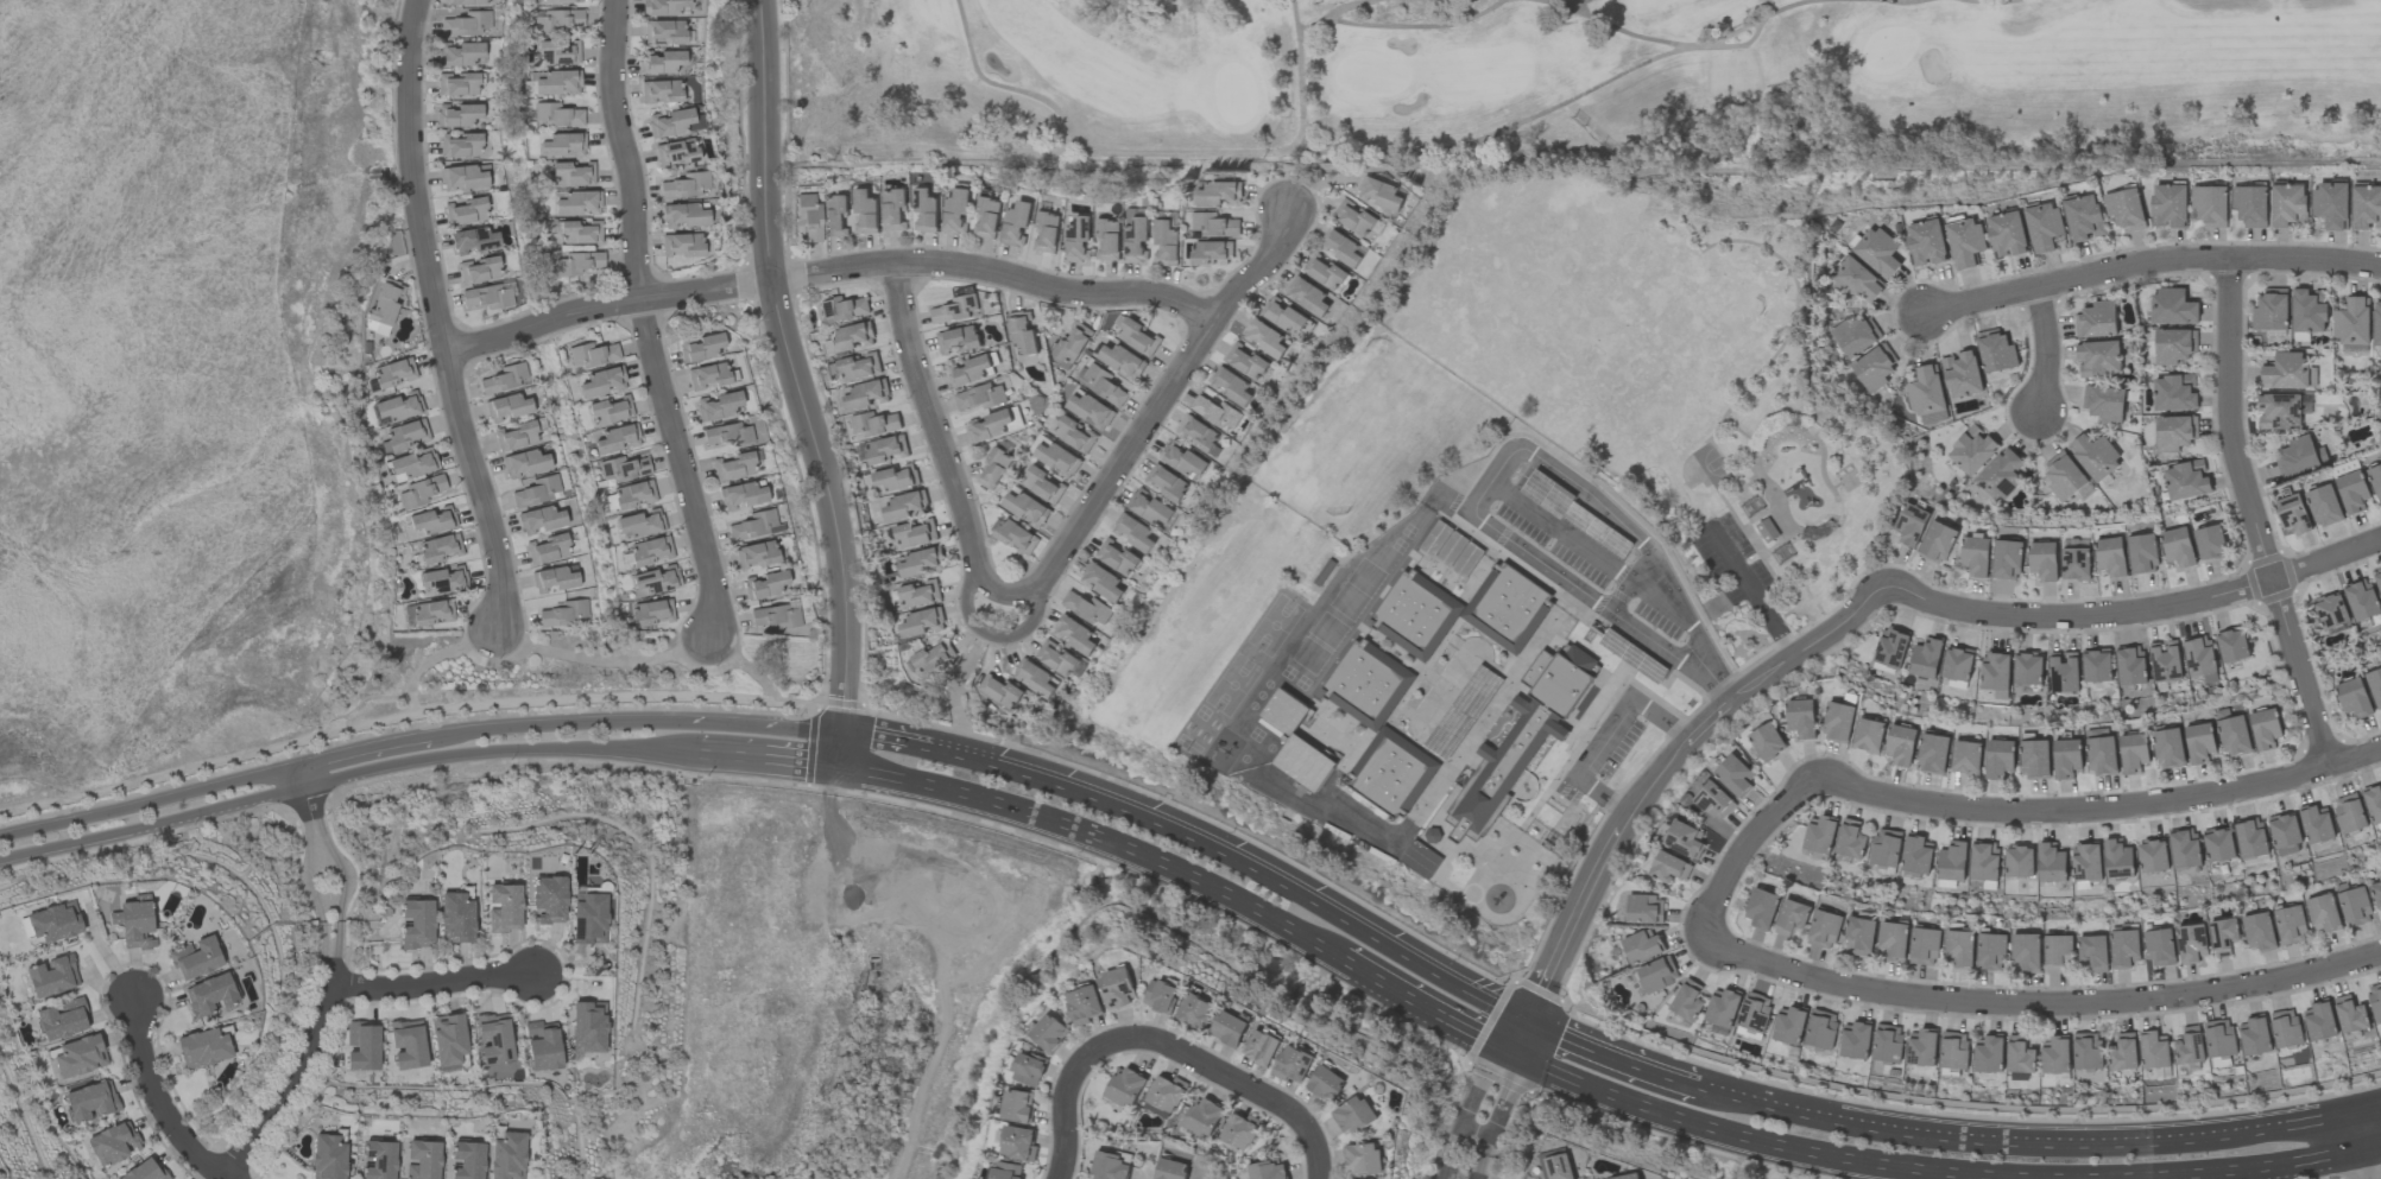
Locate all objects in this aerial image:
building: (467, 1)
building: (560, 1)
building: (662, 6)
building: (557, 19)
building: (466, 24)
building: (662, 31)
building: (558, 52)
building: (459, 53)
building: (661, 62)
park: (1580, 81)
building: (557, 82)
building: (457, 83)
building: (659, 90)
building: (457, 114)
building: (557, 114)
building: (674, 122)
building: (562, 144)
building: (460, 145)
building: (675, 152)
building: (571, 173)
building: (463, 176)
building: (684, 185)
building: (1219, 194)
building: (1378, 194)
building: (577, 203)
building: (2170, 205)
building: (2210, 205)
building: (2250, 205)
building: (2288, 205)
building: (2331, 205)
building: (2366, 207)
building: (893, 209)
building: (2126, 209)
building: (956, 210)
building: (466, 211)
building: (865, 211)
building: (926, 211)
building: (684, 214)
building: (808, 216)
building: (835, 216)
building: (1353, 217)
building: (986, 218)
building: (2084, 218)
building: (1016, 223)
building: (1213, 226)
building: (2044, 227)
building: (580, 232)
building: (1047, 233)
building: (2007, 234)
building: (1136, 235)
building: (473, 240)
building: (1079, 240)
building: (1107, 240)
building: (1164, 242)
building: (1926, 242)
building: (1965, 242)
building: (680, 243)
building: (1341, 248)
building: (1878, 252)
building: (1211, 253)
road: (2148, 261)
building: (577, 262)
building: (478, 270)
road: (829, 270)
building: (1324, 273)
building: (1857, 281)
building: (486, 296)
building: (1308, 297)
building: (385, 300)
building: (2173, 308)
building: (841, 309)
building: (956, 309)
building: (2271, 310)
building: (2309, 311)
road: (438, 315)
building: (1283, 315)
building: (2096, 321)
road: (644, 322)
building: (2352, 322)
park: (1586, 323)
building: (2376, 323)
building: (375, 328)
building: (1022, 332)
building: (1855, 336)
building: (851, 337)
building: (1137, 337)
building: (1267, 338)
building: (958, 341)
building: (1073, 342)
building: (2174, 346)
building: (701, 347)
road: (2044, 349)
building: (1995, 351)
building: (592, 354)
building: (2098, 359)
building: (1120, 361)
building: (1246, 363)
building: (855, 367)
building: (1874, 367)
building: (970, 370)
building: (393, 372)
building: (2285, 372)
park: (1659, 373)
building: (1963, 374)
building: (706, 375)
building: (504, 378)
building: (601, 381)
building: (1101, 384)
building: (1231, 386)
road: (792, 387)
building: (1926, 391)
building: (2174, 393)
building: (866, 394)
building: (980, 397)
building: (2104, 404)
building: (2305, 404)
building: (716, 405)
building: (398, 407)
building: (506, 407)
building: (610, 410)
building: (1090, 410)
building: (2279, 411)
road: (1152, 413)
building: (1217, 413)
building: (873, 424)
building: (990, 425)
road: (939, 432)
building: (2175, 432)
building: (1196, 433)
building: (404, 435)
building: (725, 435)
building: (1074, 435)
building: (516, 436)
building: (617, 438)
building: (886, 449)
building: (1972, 450)
building: (1054, 455)
building: (2095, 456)
building: (2299, 457)
building: (1183, 459)
building: (412, 463)
building: (524, 463)
building: (732, 465)
road: (1497, 467)
building: (623, 468)
building: (994, 468)
building: (2001, 475)
building: (2063, 476)
building: (896, 477)
building: (2186, 480)
building: (2375, 481)
building: (1166, 483)
building: (1042, 486)
building: (535, 490)
building: (418, 492)
building: (2352, 492)
building: (741, 494)
building: (630, 495)
building: (905, 506)
building: (2324, 506)
building: (1150, 508)
building: (2293, 514)
road: (2250, 515)
building: (432, 519)
building: (539, 519)
building: (640, 522)
building: (753, 525)
building: (1911, 525)
building: (1133, 532)
building: (915, 534)
building: (1016, 537)
building: (1938, 543)
building: (2209, 543)
building: (438, 547)
building: (2179, 547)
building: (547, 549)
building: (650, 550)
building: (2142, 553)
building: (754, 554)
building: (1976, 556)
building: (2111, 557)
building: (1117, 558)
building: (2008, 559)
building: (2076, 559)
building: (2044, 560)
building: (921, 563)
building: (442, 579)
building: (552, 579)
building: (655, 581)
building: (2377, 581)
building: (1101, 582)
building: (764, 584)
road: (1750, 592)
building: (918, 594)
road: (1570, 597)
building: (2361, 600)
building: (1088, 608)
road: (2134, 608)
building: (2331, 610)
building: (431, 611)
building: (650, 611)
building: (1461, 611)
building: (560, 614)
building: (775, 616)
building: (921, 623)
building: (1075, 635)
building: (2231, 646)
building: (1889, 649)
building: (933, 657)
building: (2198, 657)
building: (1926, 658)
building: (1056, 659)
road: (608, 661)
building: (2165, 661)
building: (1957, 664)
building: (2096, 666)
building: (2130, 666)
building: (2027, 668)
building: (1995, 674)
building: (1034, 678)
road: (1711, 678)
building: (1366, 684)
building: (2375, 686)
building: (999, 691)
road: (577, 696)
building: (2354, 698)
building: (1463, 712)
road: (810, 716)
building: (1801, 718)
building: (1838, 722)
road: (775, 728)
building: (2266, 729)
road: (1605, 735)
building: (1869, 735)
building: (2234, 735)
building: (1522, 736)
building: (1767, 741)
building: (2199, 742)
building: (1296, 743)
building: (1901, 744)
building: (2168, 747)
road: (908, 749)
building: (2102, 752)
building: (2134, 753)
road: (352, 754)
building: (1933, 754)
building: (1966, 756)
building: (2000, 759)
building: (2067, 759)
building: (2035, 760)
road: (769, 762)
road: (203, 763)
road: (349, 773)
building: (1390, 773)
building: (1735, 774)
road: (1441, 781)
road: (1651, 781)
building: (1713, 801)
building: (2373, 804)
road: (2101, 806)
road: (308, 812)
building: (2349, 813)
building: (2316, 825)
building: (2285, 833)
building: (1819, 835)
building: (2251, 838)
building: (1684, 839)
building: (1850, 839)
road: (1093, 841)
road: (1741, 845)
building: (2218, 845)
building: (1886, 848)
building: (2185, 849)
building: (1916, 854)
building: (2153, 856)
building: (1420, 860)
building: (2117, 860)
building: (1952, 861)
building: (1983, 861)
building: (2020, 861)
building: (2051, 863)
building: (2086, 863)
building: (1669, 867)
road: (307, 870)
road: (1258, 875)
building: (2376, 893)
building: (548, 898)
building: (2354, 905)
building: (503, 907)
building: (1762, 908)
road: (320, 909)
road: (337, 909)
building: (1644, 909)
building: (2323, 913)
building: (1792, 917)
building: (455, 918)
building: (587, 918)
building: (53, 921)
building: (135, 923)
building: (416, 923)
building: (2290, 924)
building: (1824, 930)
building: (2260, 932)
building: (1861, 934)
building: (2223, 937)
road: (322, 938)
road: (336, 939)
building: (1893, 940)
building: (2191, 943)
building: (1924, 945)
building: (1642, 946)
building: (1960, 946)
building: (2160, 947)
building: (2124, 949)
building: (1991, 951)
building: (2058, 951)
building: (2026, 952)
building: (2093, 952)
building: (195, 957)
building: (1657, 974)
building: (51, 976)
road: (430, 983)
building: (1118, 988)
building: (209, 994)
building: (1161, 996)
building: (1687, 1001)
building: (2375, 1001)
road: (2035, 1002)
building: (1085, 1004)
road: (1426, 1004)
building: (1722, 1008)
building: (1196, 1010)
building: (2349, 1014)
building: (1754, 1015)
building: (62, 1019)
building: (2318, 1021)
building: (1789, 1025)
building: (587, 1026)
building: (1230, 1028)
building: (2285, 1028)
building: (1820, 1029)
building: (1050, 1032)
building: (2254, 1037)
building: (493, 1038)
building: (2219, 1038)
building: (448, 1039)
building: (1855, 1040)
building: (406, 1044)
building: (1887, 1044)
building: (542, 1045)
building: (361, 1046)
building: (2190, 1046)
building: (202, 1047)
building: (1262, 1047)
building: (1921, 1047)
building: (2154, 1050)
building: (2086, 1051)
building: (2123, 1052)
building: (1988, 1054)
building: (80, 1056)
building: (2019, 1056)
building: (2054, 1056)
building: (1293, 1064)
road: (1613, 1065)
building: (1029, 1070)
road: (292, 1076)
building: (1326, 1084)
road: (1245, 1085)
building: (1124, 1086)
building: (1166, 1094)
road: (154, 1097)
road: (1070, 1097)
building: (90, 1101)
building: (1018, 1105)
road: (2370, 1111)
road: (1483, 1113)
building: (1353, 1115)
building: (1201, 1116)
building: (1239, 1130)
road: (1899, 1130)
road: (2366, 1133)
road: (1735, 1134)
road: (2228, 1135)
building: (109, 1143)
building: (1018, 1143)
road: (2376, 1149)
building: (506, 1155)
road: (2376, 1156)
building: (328, 1158)
building: (379, 1159)
building: (422, 1159)
building: (466, 1160)
building: (1363, 1160)
road: (2364, 1165)
building: (1110, 1166)
building: (1558, 1167)
road: (2281, 1168)
building: (1170, 1170)
building: (1267, 1170)
building: (143, 1171)
building: (1006, 1171)
building: (1627, 1177)

